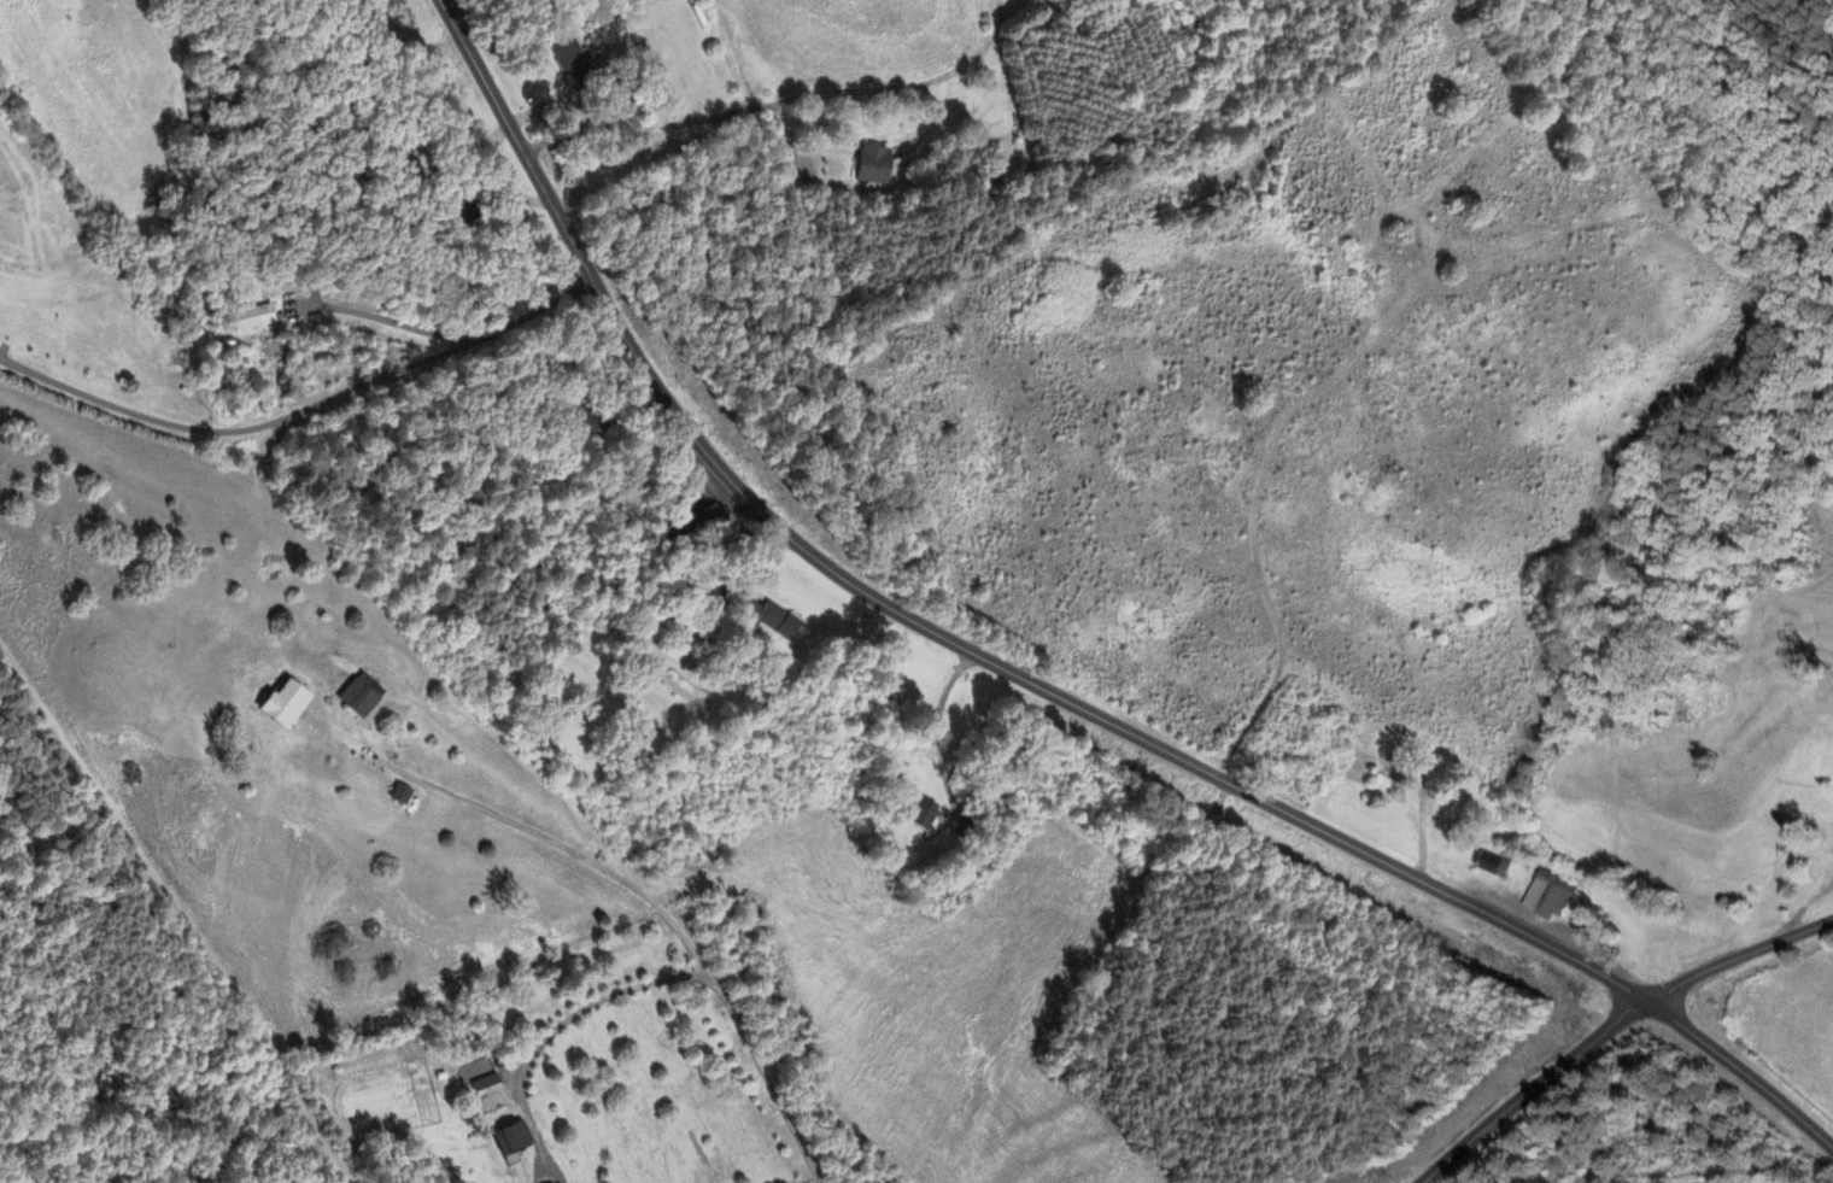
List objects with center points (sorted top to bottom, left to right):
building: (567, 57)
road: (775, 104)
building: (872, 166)
building: (252, 318)
road: (380, 321)
road: (303, 410)
building: (769, 621)
road: (1031, 687)
building: (356, 699)
building: (282, 705)
road: (941, 732)
road: (426, 784)
building: (398, 796)
building: (923, 815)
building: (1492, 866)
building: (1547, 897)
road: (135, 931)
road: (1737, 955)
road: (699, 957)
road: (596, 1003)
building: (479, 1077)
road: (1529, 1089)
building: (491, 1100)
building: (510, 1140)

